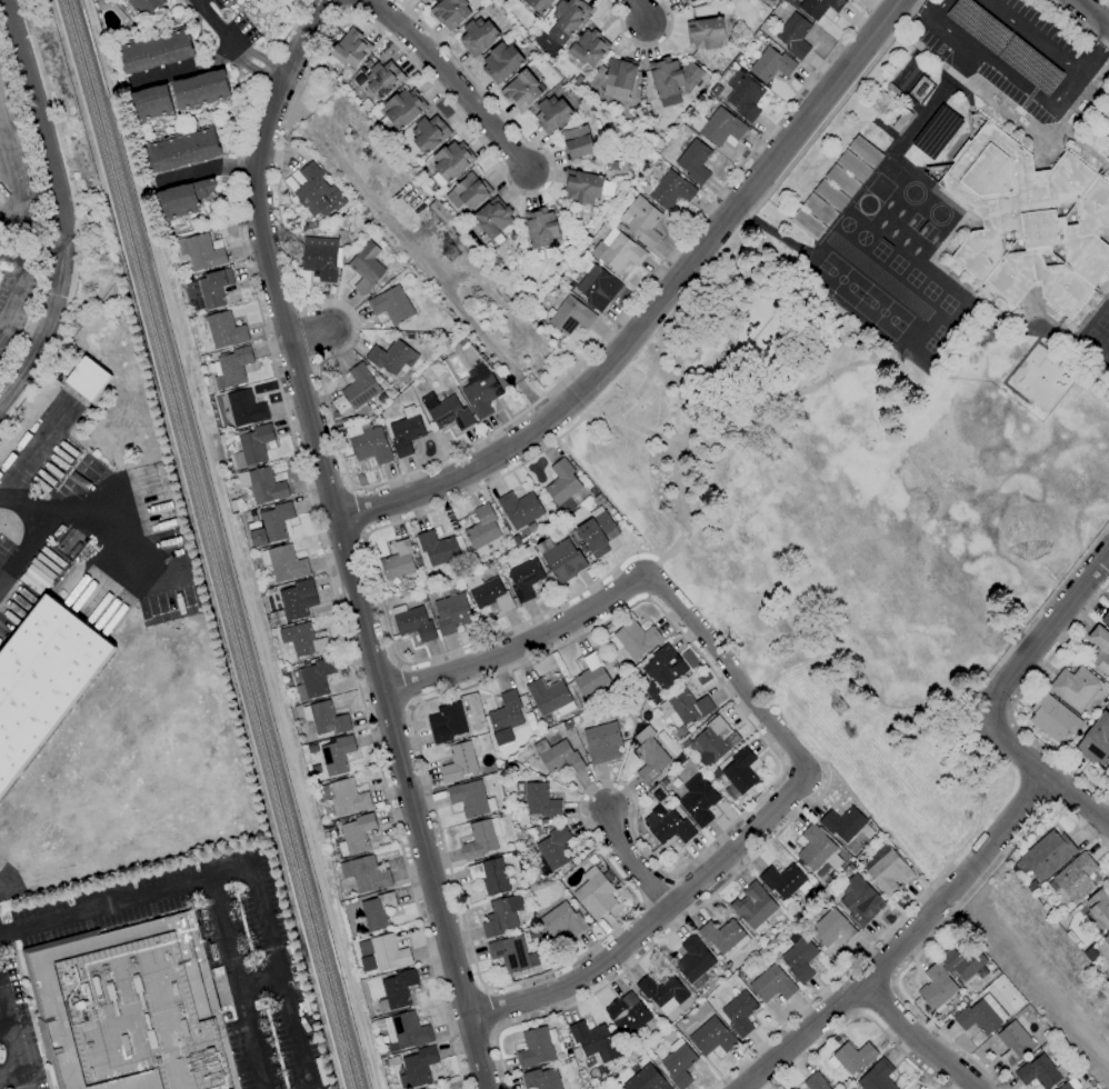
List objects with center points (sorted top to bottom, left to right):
road: (1108, 0)
building: (423, 1)
building: (685, 2)
building: (539, 4)
building: (144, 7)
building: (819, 7)
road: (920, 9)
road: (638, 10)
road: (940, 10)
building: (450, 12)
road: (1091, 13)
building: (568, 19)
road: (1079, 23)
building: (706, 32)
road: (1032, 33)
building: (478, 36)
building: (795, 36)
road: (304, 39)
road: (233, 46)
road: (1092, 47)
building: (589, 48)
road: (643, 48)
parking lot: (1010, 49)
building: (156, 50)
building: (349, 50)
building: (501, 62)
building: (771, 64)
road: (184, 68)
building: (382, 78)
building: (619, 78)
road: (448, 79)
road: (1011, 79)
building: (667, 80)
building: (521, 89)
building: (892, 89)
building: (201, 90)
building: (743, 96)
building: (152, 103)
building: (402, 108)
road: (831, 112)
building: (551, 113)
building: (901, 120)
road: (284, 126)
building: (718, 128)
building: (936, 131)
building: (429, 133)
building: (577, 142)
building: (182, 149)
building: (866, 151)
building: (452, 160)
building: (695, 162)
building: (853, 166)
road: (207, 168)
road: (7, 170)
road: (500, 170)
building: (842, 180)
building: (587, 187)
building: (671, 190)
building: (470, 191)
building: (317, 192)
building: (830, 194)
building: (183, 199)
road: (62, 204)
building: (819, 209)
building: (439, 212)
building: (1027, 218)
building: (493, 219)
building: (642, 221)
building: (807, 223)
building: (541, 227)
park: (920, 227)
road: (31, 243)
power tower: (448, 246)
park: (879, 251)
building: (200, 252)
building: (621, 253)
building: (321, 257)
park: (896, 264)
building: (366, 267)
park: (912, 278)
park: (839, 280)
road: (646, 283)
road: (11, 286)
building: (598, 287)
building: (208, 290)
park: (929, 291)
building: (391, 304)
park: (946, 304)
park: (1108, 304)
road: (302, 306)
road: (656, 308)
park: (881, 312)
building: (570, 316)
road: (354, 318)
road: (675, 319)
park: (1102, 321)
building: (224, 330)
road: (309, 333)
road: (308, 334)
park: (1090, 338)
building: (390, 357)
road: (317, 362)
building: (232, 368)
building: (86, 377)
building: (480, 391)
building: (356, 393)
road: (788, 393)
building: (246, 408)
building: (447, 411)
building: (406, 434)
building: (254, 443)
building: (368, 444)
road: (667, 448)
road: (676, 450)
road: (31, 451)
building: (562, 484)
building: (264, 486)
road: (479, 487)
road: (353, 488)
road: (350, 490)
road: (27, 506)
road: (311, 507)
building: (520, 509)
road: (354, 512)
road: (83, 514)
building: (272, 524)
building: (482, 527)
road: (1105, 528)
building: (597, 532)
road: (362, 534)
railway: (203, 543)
railway: (214, 543)
building: (438, 548)
building: (561, 559)
building: (398, 560)
building: (284, 563)
park: (866, 571)
building: (526, 580)
road: (353, 583)
building: (488, 592)
building: (298, 599)
road: (1040, 610)
building: (451, 613)
building: (1106, 619)
building: (413, 622)
road: (1045, 632)
building: (303, 639)
building: (635, 639)
road: (474, 643)
road: (520, 648)
building: (1100, 649)
road: (398, 666)
building: (661, 672)
building: (590, 675)
road: (727, 676)
building: (317, 677)
building: (42, 680)
road: (401, 687)
building: (1076, 688)
building: (550, 697)
power tower: (832, 700)
road: (1016, 700)
road: (408, 707)
building: (686, 708)
building: (506, 717)
building: (326, 718)
building: (1052, 718)
building: (447, 722)
building: (1096, 741)
building: (603, 742)
building: (710, 742)
building: (337, 756)
building: (649, 756)
building: (559, 757)
building: (459, 762)
building: (739, 773)
road: (1041, 775)
building: (346, 797)
building: (470, 799)
building: (540, 800)
building: (698, 801)
building: (843, 822)
building: (669, 827)
road: (635, 830)
building: (356, 835)
building: (479, 840)
building: (552, 850)
building: (816, 850)
building: (1047, 855)
road: (630, 863)
building: (887, 870)
building: (366, 875)
building: (490, 876)
building: (1075, 878)
building: (783, 880)
building: (596, 893)
road: (124, 900)
building: (860, 900)
building: (753, 907)
building: (1098, 910)
building: (377, 911)
building: (501, 916)
building: (562, 920)
road: (650, 920)
road: (946, 922)
building: (831, 928)
building: (723, 936)
road: (658, 939)
building: (1107, 939)
road: (902, 940)
building: (384, 952)
building: (512, 953)
building: (800, 957)
building: (963, 961)
building: (693, 962)
road: (848, 966)
road: (259, 979)
road: (282, 979)
road: (236, 983)
building: (772, 985)
building: (936, 988)
building: (398, 990)
building: (662, 991)
road: (877, 997)
building: (130, 1009)
road: (491, 1009)
building: (627, 1013)
building: (740, 1013)
road: (857, 1015)
building: (981, 1016)
road: (2, 1023)
building: (403, 1031)
building: (712, 1037)
road: (916, 1040)
building: (595, 1041)
building: (1013, 1043)
road: (11, 1046)
building: (537, 1047)
road: (456, 1055)
building: (855, 1057)
building: (391, 1061)
building: (679, 1063)
building: (417, 1068)
road: (8, 1070)
building: (1040, 1072)
building: (877, 1077)
building: (541, 1079)
building: (648, 1081)
building: (815, 1082)
building: (1070, 1085)
building: (433, 1088)

